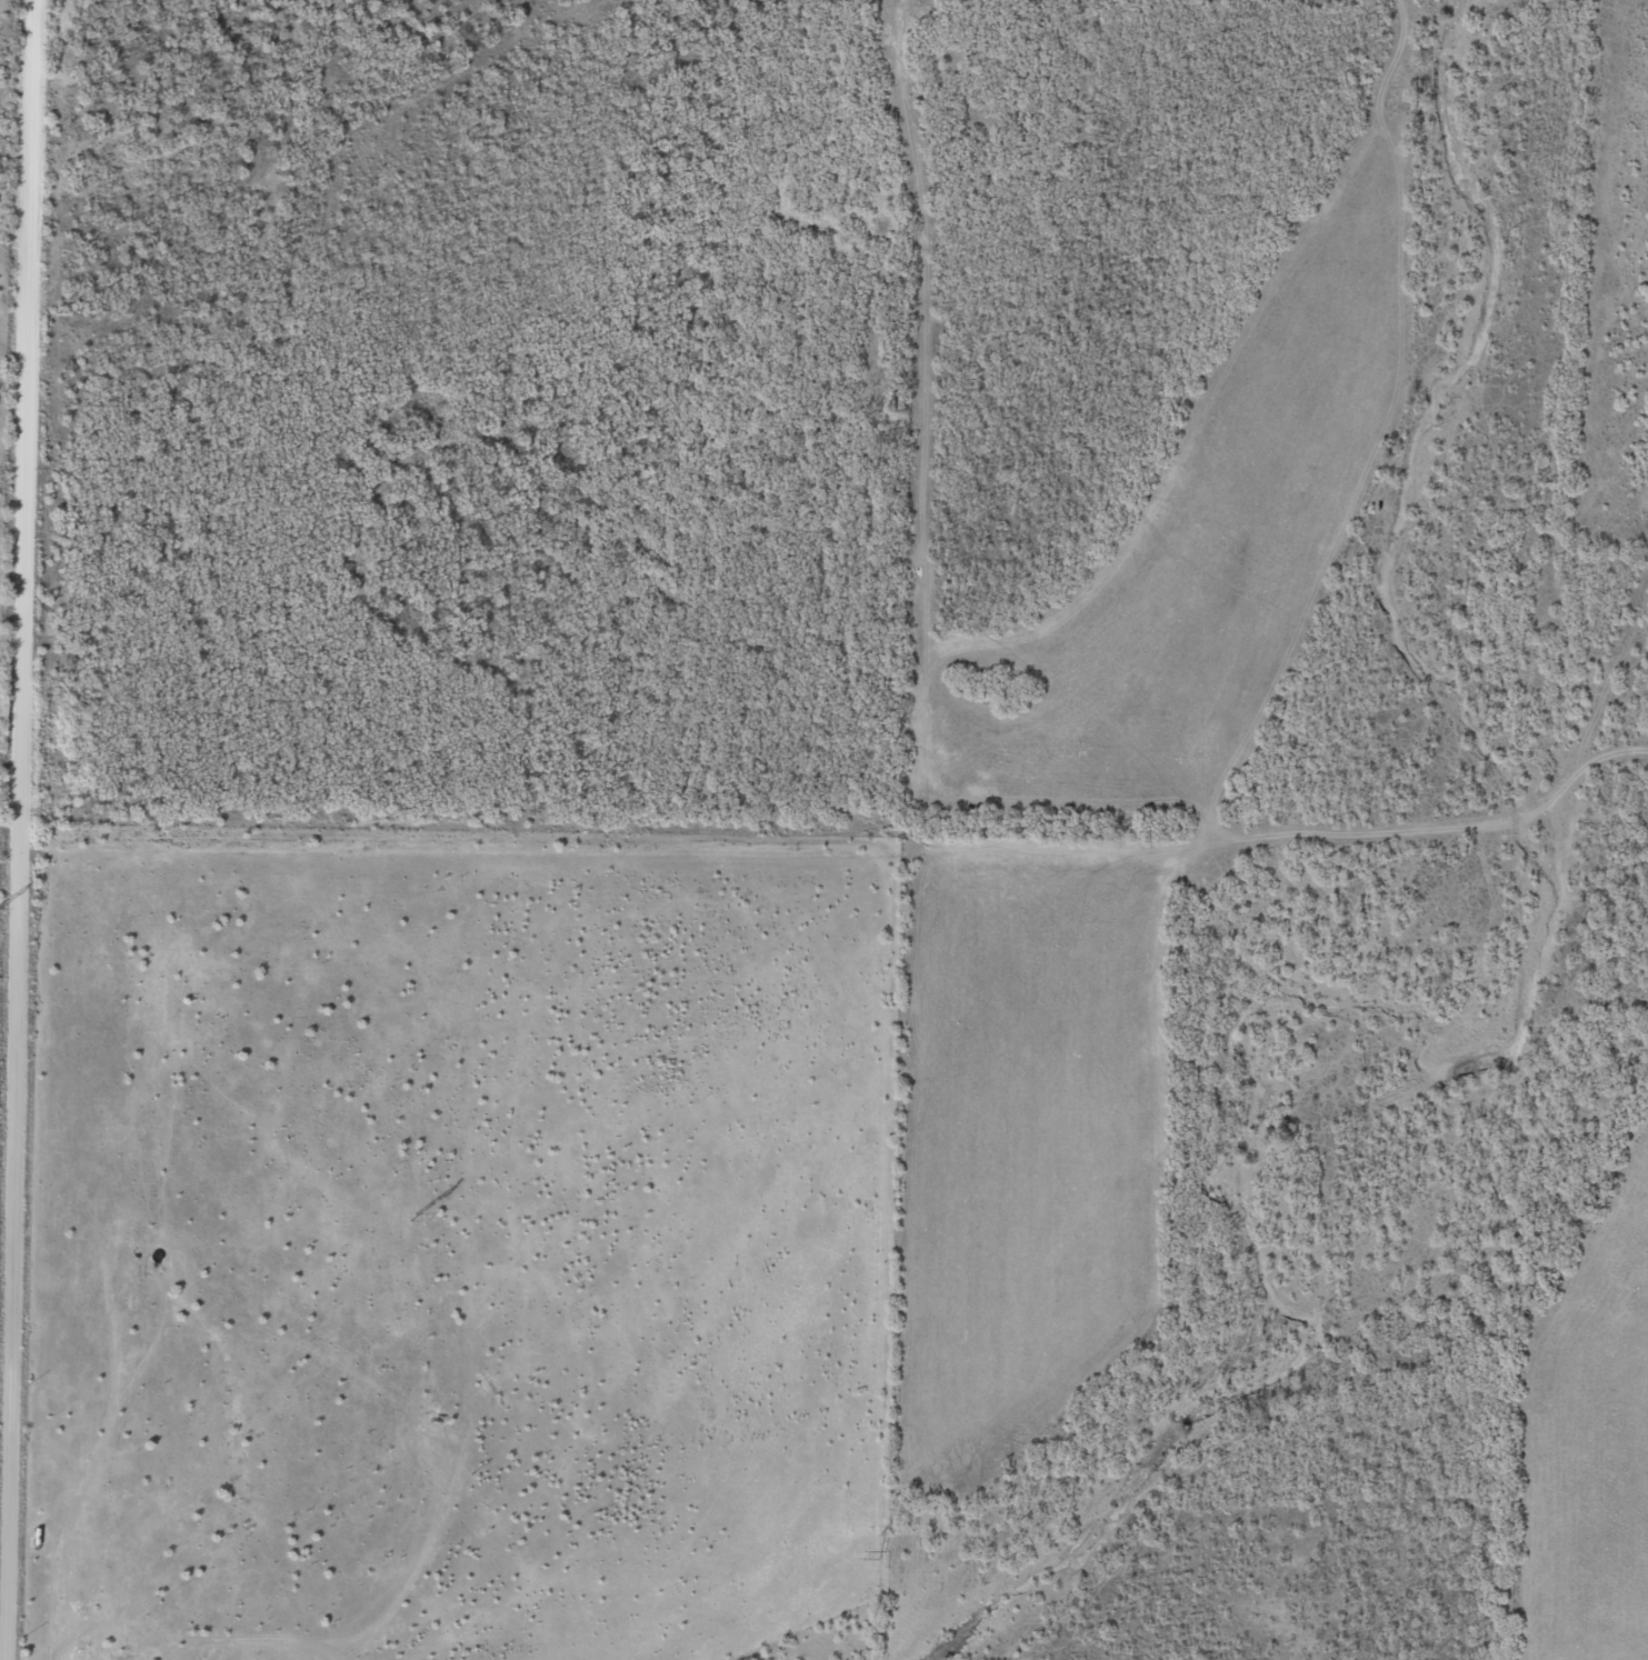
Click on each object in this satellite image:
road: (806, 71)
road: (1053, 110)
road: (581, 249)
road: (4, 301)
road: (1, 707)
power tower: (413, 1216)
power tower: (882, 1553)

